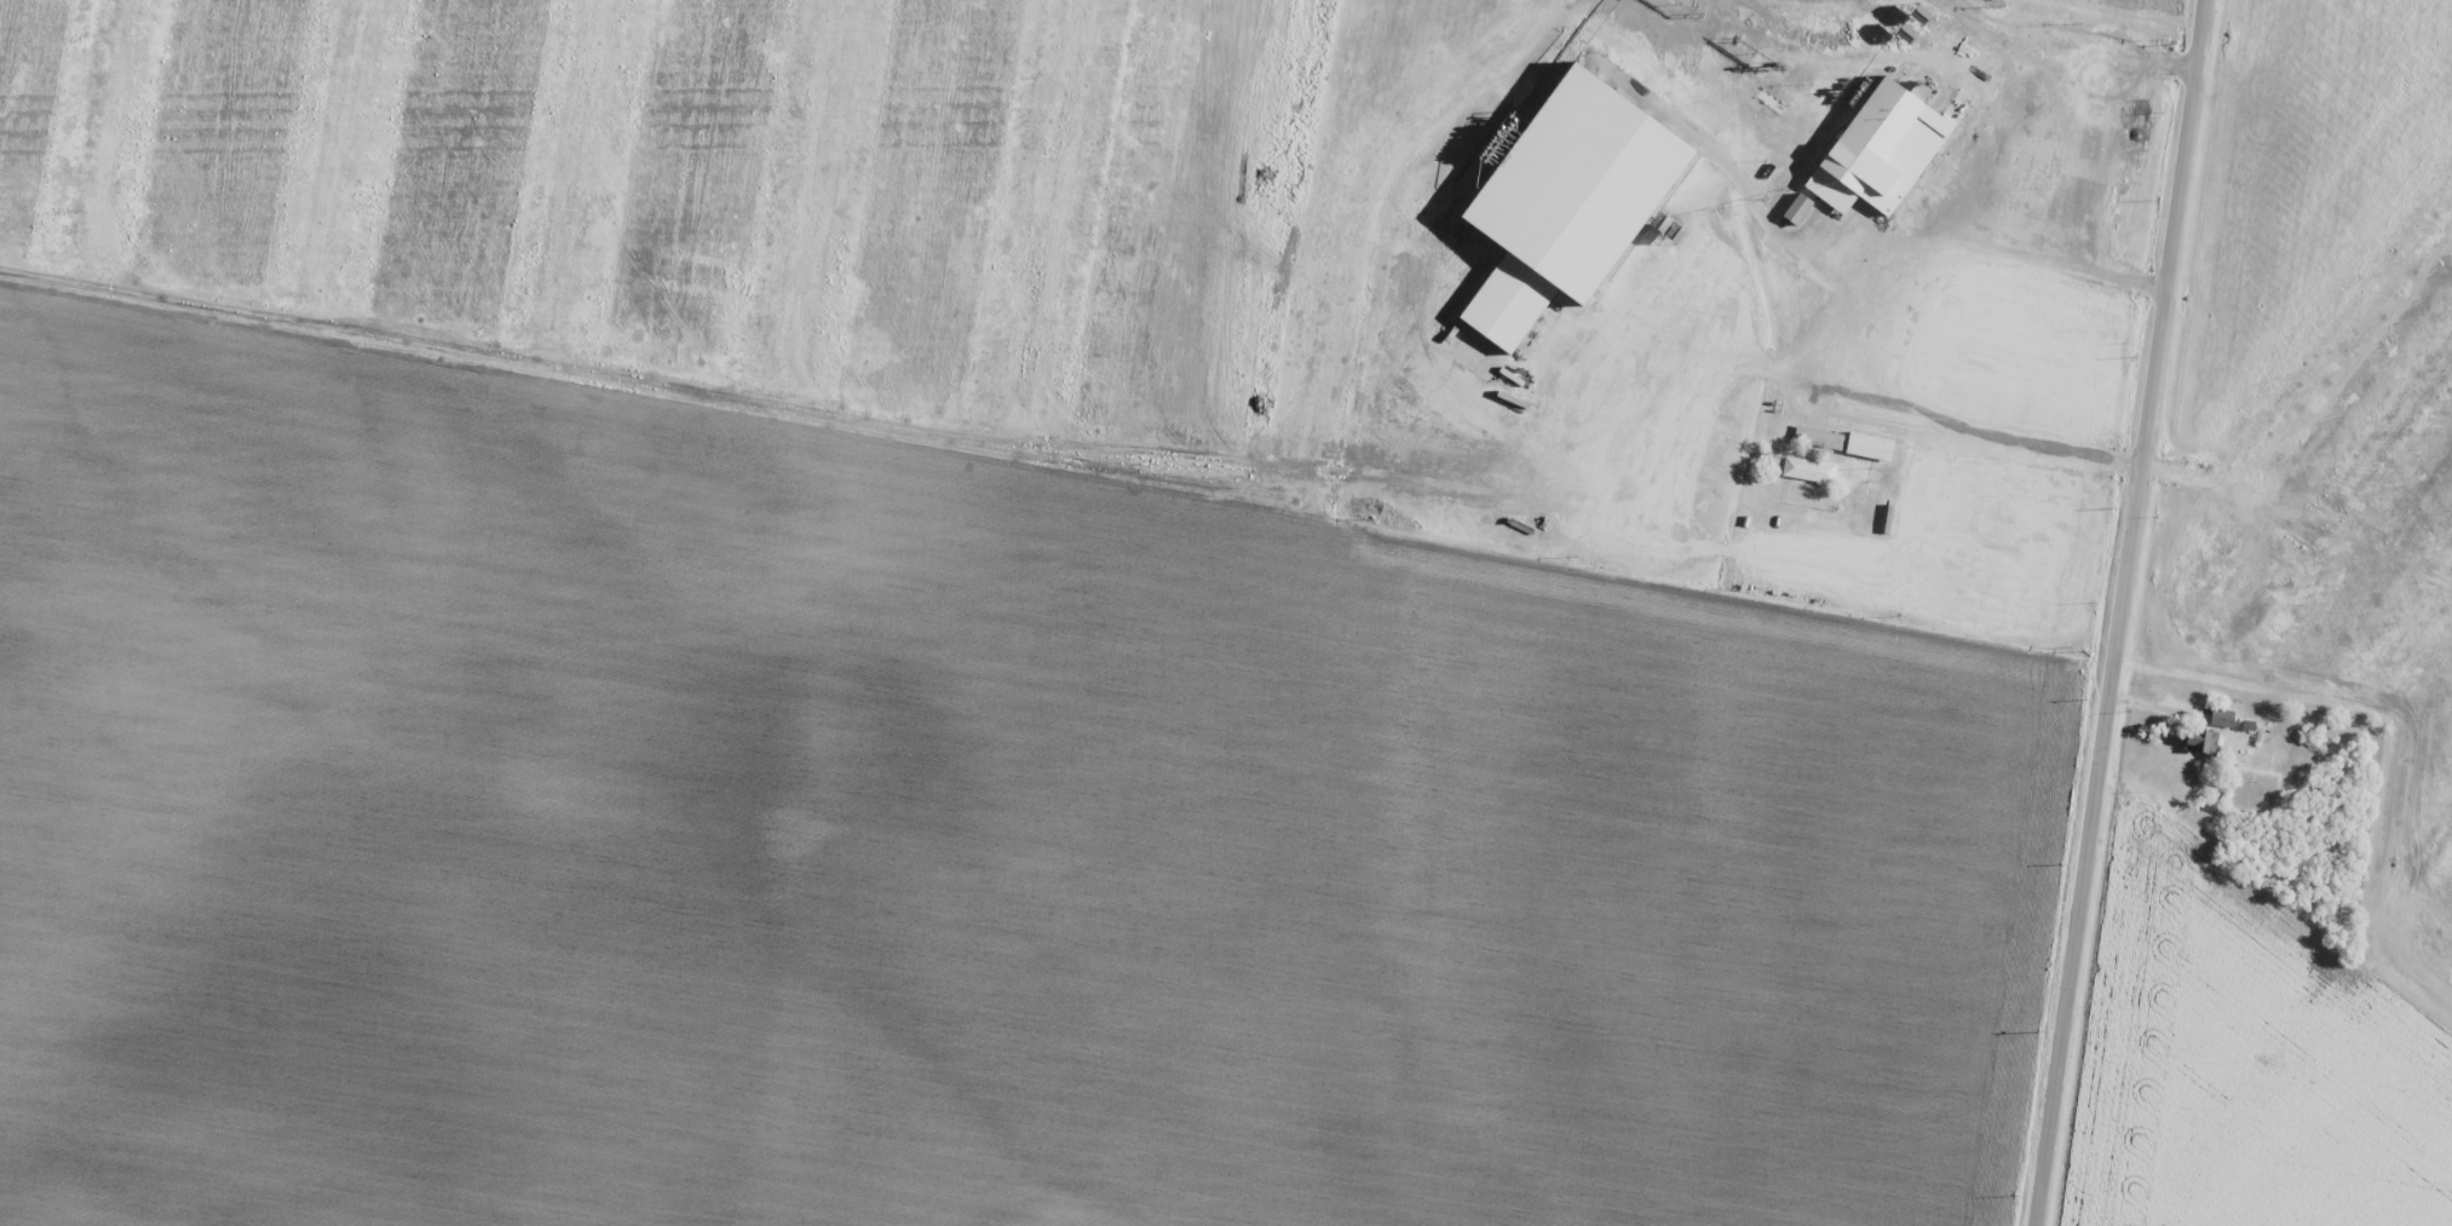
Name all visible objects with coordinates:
road: (2047, 90)
building: (1877, 149)
building: (1795, 208)
road: (1866, 320)
road: (1746, 351)
building: (1818, 436)
building: (1867, 445)
building: (1808, 470)
road: (2123, 612)
building: (2221, 716)
building: (2199, 741)

